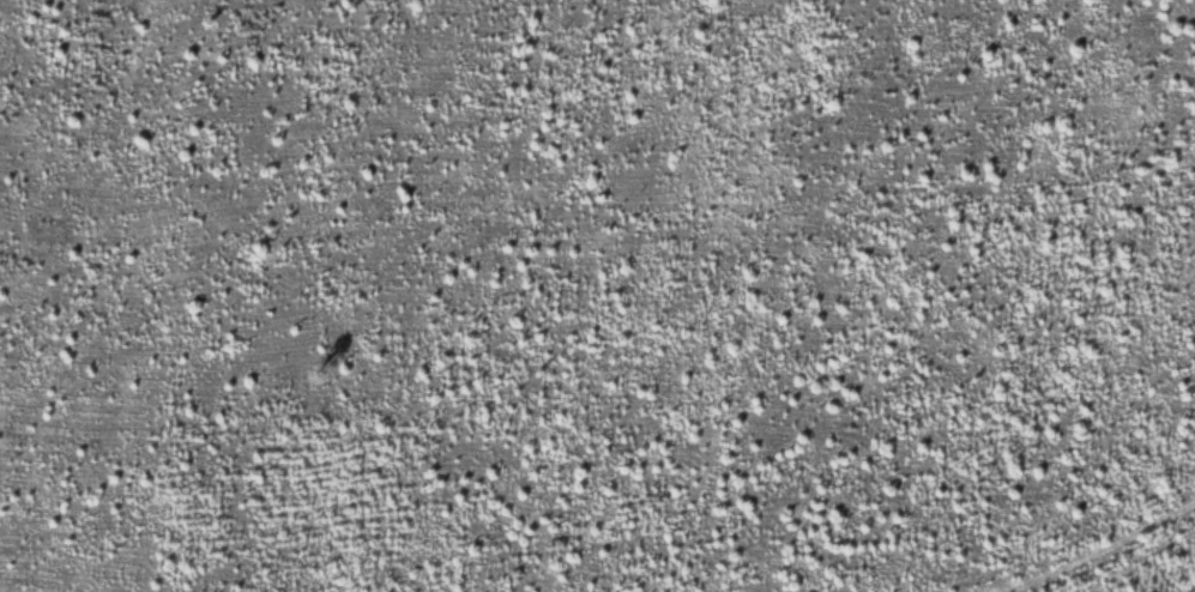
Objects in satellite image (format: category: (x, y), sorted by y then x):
road: (1097, 546)

